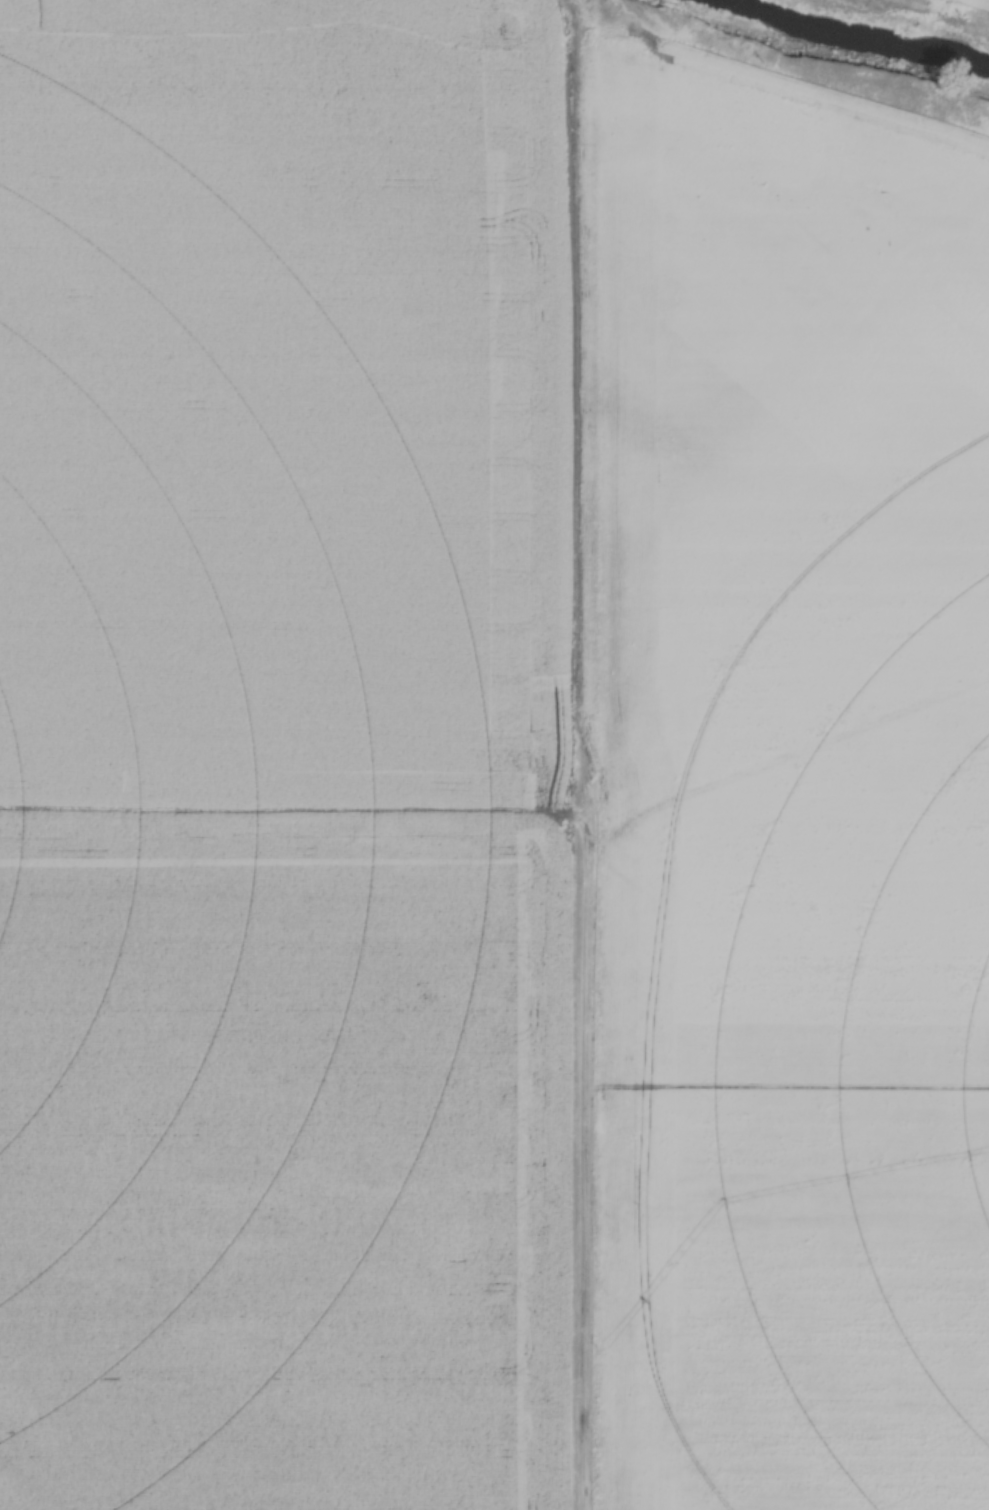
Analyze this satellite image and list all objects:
river: (852, 34)
road: (581, 754)

